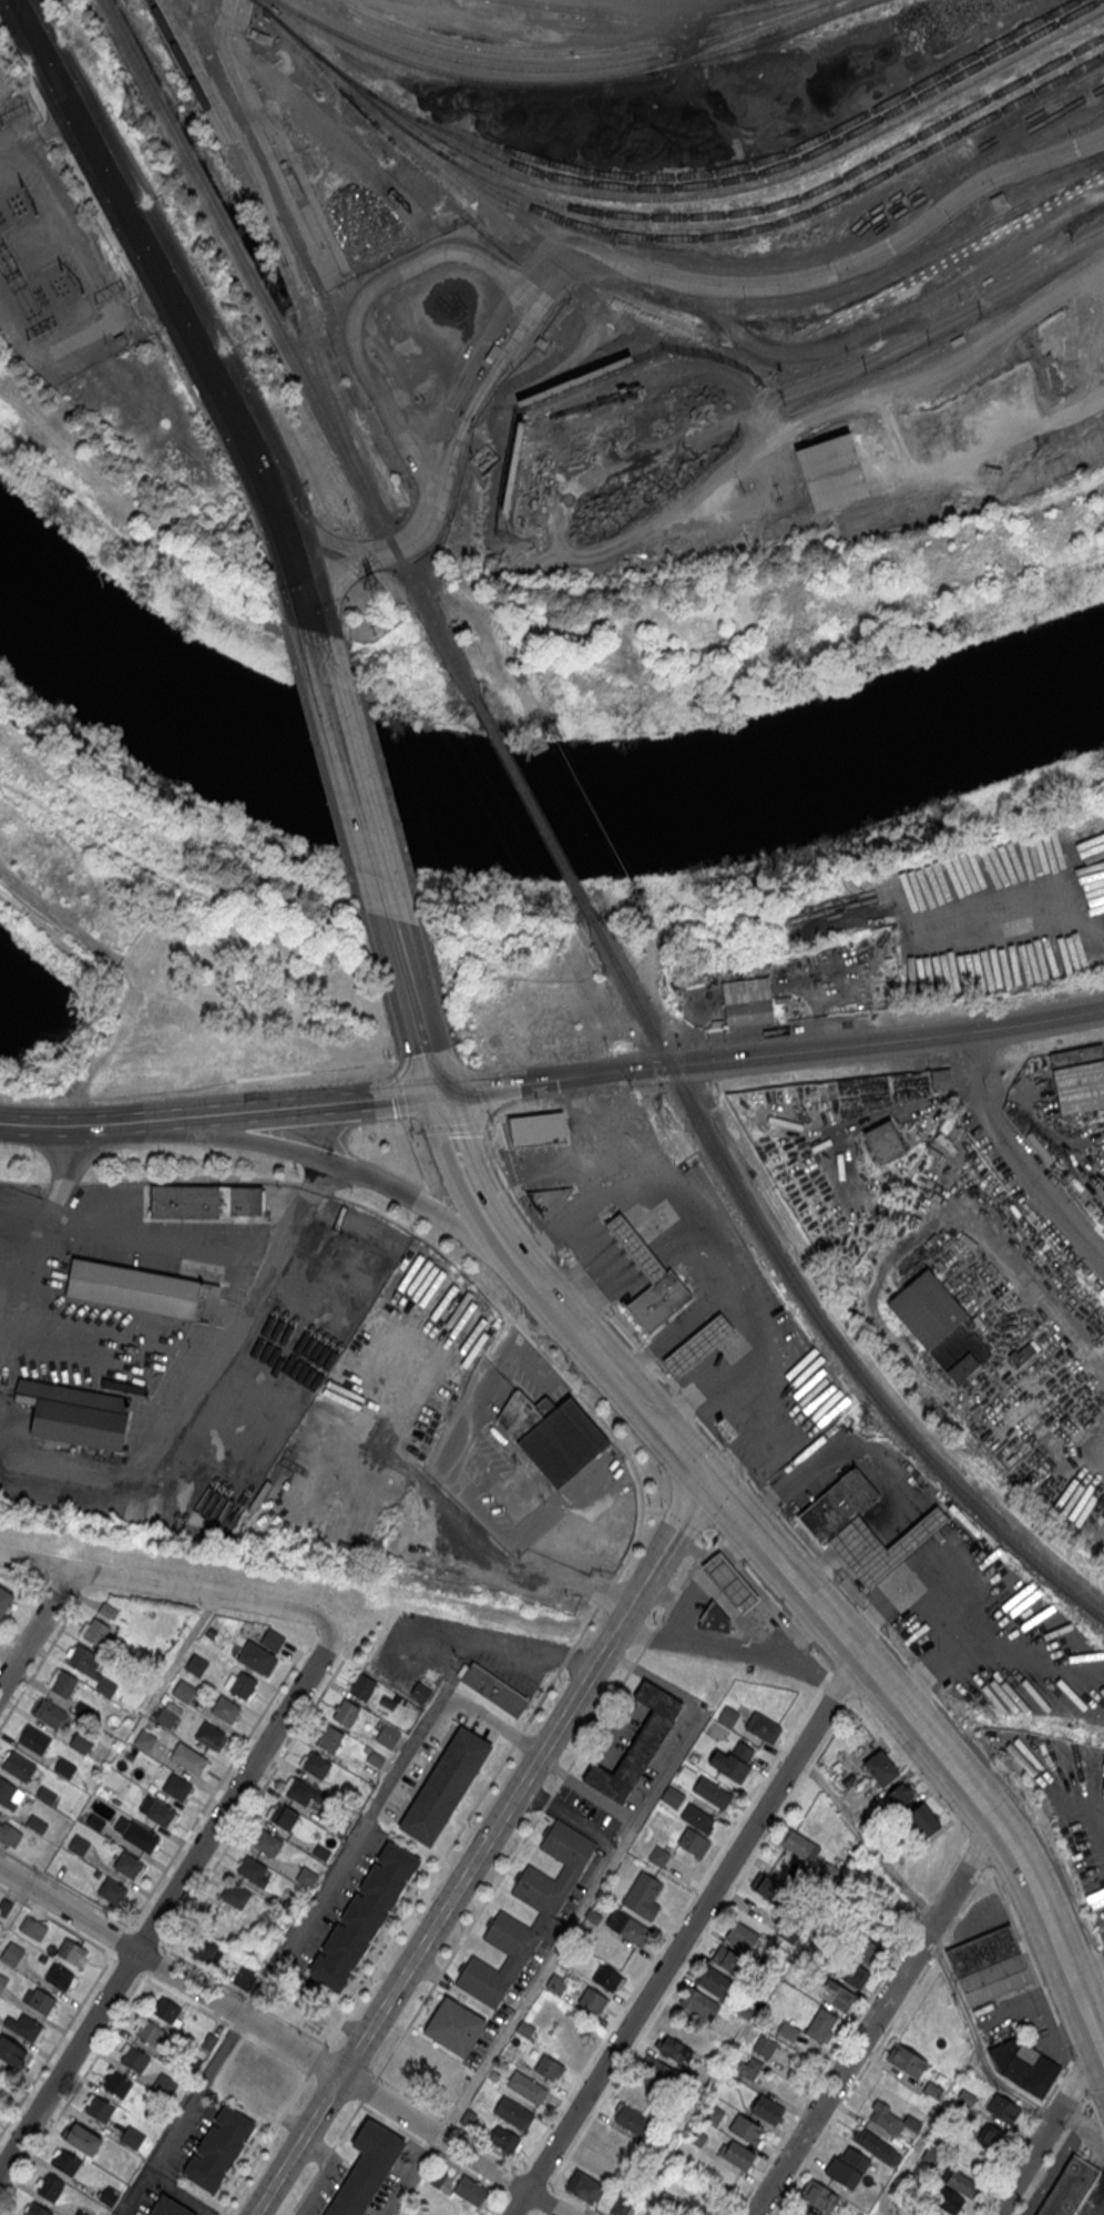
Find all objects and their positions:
railway: (503, 0)
railway: (645, 20)
railway: (738, 39)
railway: (730, 51)
railway: (570, 52)
road: (233, 54)
railway: (420, 64)
railway: (566, 69)
power tower: (132, 120)
railway: (219, 131)
road: (37, 133)
road: (340, 145)
railway: (743, 176)
railway: (672, 197)
railway: (784, 202)
road: (81, 223)
railway: (747, 229)
road: (137, 233)
power substation: (54, 257)
railway: (284, 257)
road: (827, 274)
road: (358, 308)
railway: (683, 313)
road: (112, 318)
road: (893, 345)
railway: (289, 347)
road: (928, 369)
road: (467, 398)
building: (831, 474)
road: (263, 481)
road: (317, 533)
road: (285, 539)
road: (338, 571)
traffic signals: (299, 583)
power tower: (374, 588)
road: (307, 609)
road: (292, 653)
road: (352, 768)
road: (325, 775)
river: (529, 810)
railway: (534, 814)
park: (442, 874)
road: (397, 938)
building: (789, 998)
building: (754, 1003)
road: (413, 1019)
road: (769, 1054)
road: (468, 1057)
traffic signals: (688, 1064)
road: (391, 1066)
traffic signals: (650, 1069)
road: (299, 1072)
building: (941, 1076)
road: (427, 1079)
building: (1079, 1079)
road: (482, 1090)
traffic signals: (435, 1094)
road: (398, 1095)
road: (323, 1106)
power tower: (665, 1122)
road: (105, 1125)
building: (538, 1129)
building: (883, 1142)
road: (457, 1152)
road: (415, 1154)
road: (1016, 1154)
road: (562, 1155)
road: (188, 1176)
road: (23, 1180)
road: (63, 1181)
road: (379, 1184)
road: (315, 1185)
road: (625, 1187)
building: (548, 1197)
building: (206, 1202)
road: (422, 1202)
road: (566, 1218)
road: (413, 1222)
road: (498, 1233)
road: (657, 1241)
road: (431, 1242)
building: (635, 1249)
road: (641, 1255)
road: (524, 1268)
building: (206, 1274)
road: (709, 1283)
road: (538, 1285)
road: (599, 1288)
building: (133, 1289)
building: (660, 1302)
railway: (809, 1306)
road: (235, 1318)
road: (568, 1320)
building: (941, 1326)
road: (522, 1330)
road: (669, 1338)
building: (698, 1346)
building: (1023, 1353)
road: (711, 1385)
building: (74, 1415)
road: (650, 1417)
road: (774, 1421)
power tower: (868, 1427)
building: (552, 1436)
road: (835, 1456)
road: (451, 1466)
traffic signals: (708, 1486)
building: (838, 1505)
road: (653, 1508)
road: (722, 1518)
road: (682, 1520)
road: (931, 1523)
road: (749, 1531)
road: (705, 1535)
road: (800, 1538)
building: (881, 1547)
road: (667, 1559)
building: (729, 1583)
road: (167, 1589)
road: (31, 1594)
road: (897, 1594)
building: (4, 1599)
road: (771, 1606)
building: (106, 1612)
road: (825, 1616)
building: (714, 1620)
road: (965, 1626)
road: (35, 1630)
building: (96, 1633)
building: (273, 1640)
road: (493, 1647)
road: (643, 1649)
parking lot: (460, 1653)
road: (182, 1655)
road: (299, 1655)
road: (42, 1657)
building: (197, 1665)
building: (86, 1666)
road: (654, 1678)
building: (63, 1684)
building: (242, 1684)
road: (841, 1686)
building: (362, 1687)
building: (494, 1690)
building: (184, 1691)
building: (421, 1693)
road: (543, 1694)
building: (226, 1708)
building: (49, 1713)
building: (346, 1714)
building: (166, 1716)
building: (763, 1727)
road: (832, 1731)
building: (209, 1734)
building: (388, 1736)
building: (33, 1738)
building: (144, 1738)
building: (329, 1739)
building: (81, 1741)
building: (637, 1743)
building: (188, 1757)
building: (733, 1760)
building: (316, 1764)
road: (911, 1764)
building: (19, 1765)
road: (809, 1768)
building: (880, 1768)
road: (564, 1774)
building: (446, 1785)
building: (177, 1786)
road: (555, 1786)
building: (7, 1790)
building: (713, 1792)
road: (213, 1793)
building: (305, 1793)
building: (47, 1795)
building: (901, 1795)
building: (672, 1796)
road: (545, 1801)
road: (251, 1805)
road: (376, 1806)
building: (0, 1813)
building: (161, 1813)
building: (284, 1817)
building: (698, 1818)
building: (923, 1820)
building: (37, 1824)
building: (10, 1833)
building: (140, 1836)
road: (969, 1837)
road: (868, 1838)
road: (1005, 1838)
building: (268, 1843)
building: (693, 1843)
building: (79, 1845)
building: (800, 1845)
road: (979, 1851)
building: (658, 1856)
building: (127, 1865)
road: (949, 1869)
building: (253, 1870)
building: (829, 1874)
road: (67, 1889)
building: (112, 1889)
building: (770, 1889)
building: (236, 1895)
building: (642, 1895)
road: (167, 1902)
road: (924, 1908)
building: (546, 1913)
building: (362, 1916)
road: (58, 1921)
road: (437, 1921)
road: (675, 1921)
road: (1014, 1926)
building: (627, 1927)
building: (742, 1936)
road: (146, 1937)
road: (684, 1937)
road: (120, 1940)
road: (458, 1944)
building: (204, 1947)
building: (865, 1949)
building: (982, 1950)
building: (71, 1951)
building: (12, 1953)
building: (727, 1960)
road: (154, 1961)
road: (545, 1961)
road: (129, 1964)
road: (1086, 1968)
building: (850, 1972)
building: (59, 1976)
building: (245, 1978)
building: (607, 1978)
building: (994, 1978)
building: (2, 1981)
road: (676, 1982)
building: (714, 1982)
building: (556, 1984)
road: (242, 1994)
building: (837, 1995)
building: (39, 1999)
building: (593, 2001)
building: (698, 2003)
road: (1050, 2004)
building: (166, 2009)
road: (875, 2021)
road: (224, 2022)
building: (23, 2025)
building: (454, 2025)
building: (822, 2025)
building: (150, 2031)
road: (282, 2040)
road: (57, 2041)
road: (880, 2041)
road: (1065, 2042)
building: (764, 2045)
building: (674, 2050)
building: (11, 2052)
road: (1102, 2055)
building: (134, 2058)
road: (315, 2059)
building: (906, 2060)
building: (193, 2063)
building: (1023, 2064)
road: (828, 2065)
building: (749, 2066)
building: (550, 2070)
building: (654, 2071)
road: (1082, 2078)
building: (117, 2083)
building: (527, 2088)
road: (296, 2089)
road: (369, 2090)
road: (73, 2091)
building: (99, 2107)
building: (1003, 2107)
building: (767, 2109)
road: (1096, 2110)
building: (514, 2114)
road: (180, 2115)
road: (279, 2115)
road: (1073, 2117)
building: (468, 2119)
building: (891, 2119)
building: (632, 2120)
road: (451, 2122)
building: (747, 2130)
road: (1045, 2132)
building: (132, 2136)
building: (992, 2136)
road: (1023, 2136)
building: (83, 2140)
building: (504, 2140)
building: (614, 2141)
building: (877, 2146)
building: (219, 2147)
road: (433, 2150)
building: (736, 2153)
road: (326, 2156)
building: (67, 2162)
building: (847, 2167)
road: (247, 2168)
building: (366, 2168)
road: (1052, 2174)
road: (536, 2175)
road: (513, 2181)
building: (961, 2181)
building: (585, 2187)
building: (1069, 2187)
building: (50, 2188)
building: (472, 2190)
road: (180, 2193)
building: (819, 2195)
road: (542, 2198)
road: (573, 2198)
building: (947, 2199)
road: (499, 2203)
road: (519, 2203)
building: (171, 2207)
building: (38, 2209)
road: (533, 2212)
road: (534, 2212)
building: (81, 2214)

